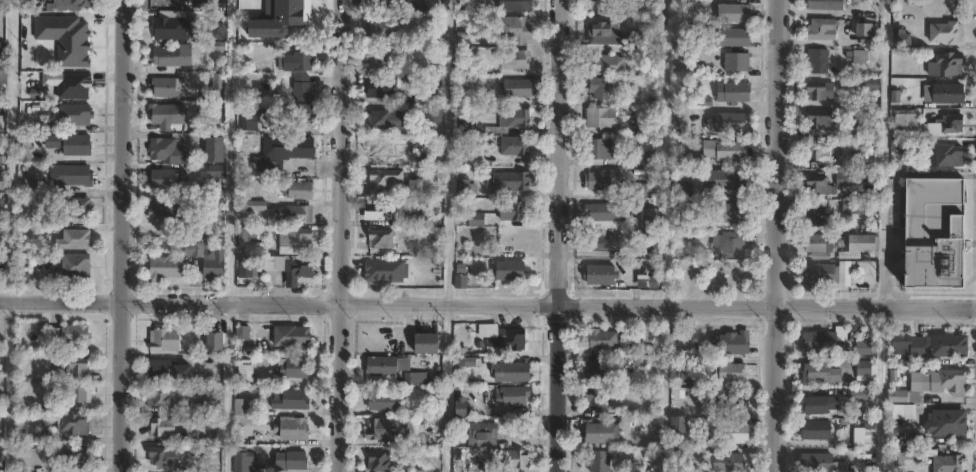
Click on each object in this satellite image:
building: (2, 5)
building: (67, 5)
building: (515, 5)
building: (822, 5)
building: (596, 6)
building: (733, 12)
building: (171, 27)
building: (381, 28)
building: (604, 28)
building: (514, 29)
building: (819, 30)
building: (863, 32)
building: (943, 34)
building: (734, 36)
building: (901, 40)
building: (654, 51)
building: (3, 55)
building: (173, 55)
building: (301, 57)
building: (814, 57)
building: (513, 59)
building: (376, 61)
building: (736, 61)
building: (459, 63)
building: (606, 64)
building: (945, 65)
building: (404, 82)
building: (460, 82)
building: (74, 86)
building: (868, 86)
building: (165, 87)
building: (599, 87)
building: (379, 88)
building: (515, 88)
building: (302, 89)
building: (733, 91)
building: (818, 91)
building: (941, 94)
building: (300, 112)
building: (81, 115)
building: (167, 115)
building: (434, 115)
building: (602, 116)
building: (680, 116)
building: (514, 118)
building: (388, 120)
building: (248, 121)
building: (465, 121)
building: (820, 121)
building: (727, 122)
building: (902, 122)
building: (948, 125)
building: (645, 128)
building: (851, 129)
building: (70, 144)
building: (514, 146)
building: (898, 146)
building: (383, 147)
building: (215, 149)
building: (723, 149)
building: (25, 150)
building: (164, 150)
building: (596, 150)
road: (449, 152)
building: (282, 153)
building: (819, 154)
road: (884, 154)
building: (943, 156)
building: (646, 158)
building: (679, 159)
building: (74, 176)
building: (166, 178)
building: (727, 178)
building: (844, 178)
building: (386, 179)
building: (603, 179)
building: (2, 182)
building: (506, 183)
building: (820, 187)
building: (415, 188)
building: (464, 188)
building: (244, 189)
building: (297, 189)
building: (646, 190)
building: (251, 206)
building: (163, 208)
building: (854, 208)
building: (77, 209)
building: (377, 211)
building: (604, 211)
building: (731, 213)
building: (298, 214)
building: (510, 214)
building: (817, 214)
building: (647, 217)
building: (475, 219)
building: (933, 234)
road: (121, 235)
road: (560, 235)
road: (345, 236)
road: (775, 236)
building: (380, 239)
building: (76, 241)
building: (251, 241)
building: (296, 241)
building: (599, 242)
building: (727, 242)
building: (858, 245)
building: (818, 248)
building: (194, 249)
building: (215, 265)
building: (76, 266)
building: (246, 267)
building: (164, 268)
building: (294, 268)
building: (380, 270)
building: (406, 270)
building: (506, 270)
building: (600, 274)
building: (460, 275)
building: (843, 275)
building: (818, 276)
road: (488, 304)
building: (70, 334)
building: (294, 336)
building: (217, 338)
building: (509, 338)
building: (166, 339)
building: (603, 339)
building: (734, 341)
building: (823, 341)
building: (429, 342)
building: (640, 342)
building: (934, 345)
building: (863, 348)
building: (72, 364)
building: (215, 365)
building: (688, 366)
building: (295, 367)
building: (863, 367)
building: (170, 369)
building: (247, 369)
building: (386, 369)
building: (601, 371)
building: (515, 372)
building: (731, 373)
building: (822, 373)
building: (417, 378)
road: (9, 386)
road: (446, 387)
building: (932, 387)
road: (881, 389)
building: (82, 394)
building: (862, 395)
building: (164, 396)
building: (515, 396)
building: (210, 399)
building: (291, 399)
building: (385, 401)
building: (602, 401)
building: (736, 401)
building: (817, 404)
building: (244, 406)
building: (463, 407)
building: (680, 419)
building: (950, 422)
building: (74, 423)
building: (165, 426)
building: (294, 428)
building: (387, 428)
building: (819, 429)
building: (602, 432)
building: (729, 432)
building: (483, 433)
building: (864, 434)
building: (73, 456)
building: (161, 456)
building: (515, 458)
building: (243, 459)
building: (292, 460)
building: (380, 460)
building: (601, 460)
building: (950, 460)
building: (727, 462)
building: (819, 462)

